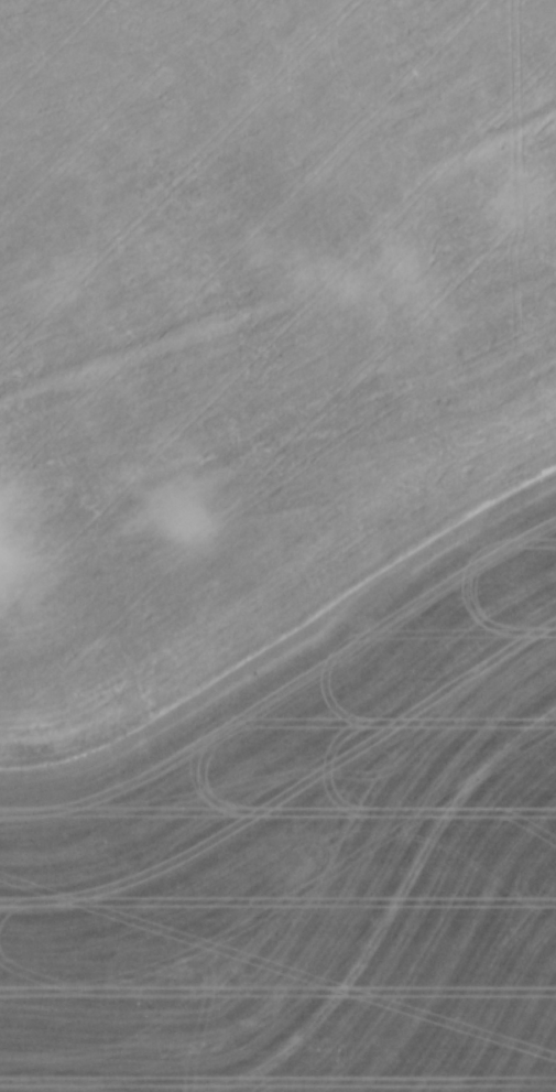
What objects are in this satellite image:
crop: (277, 545)

